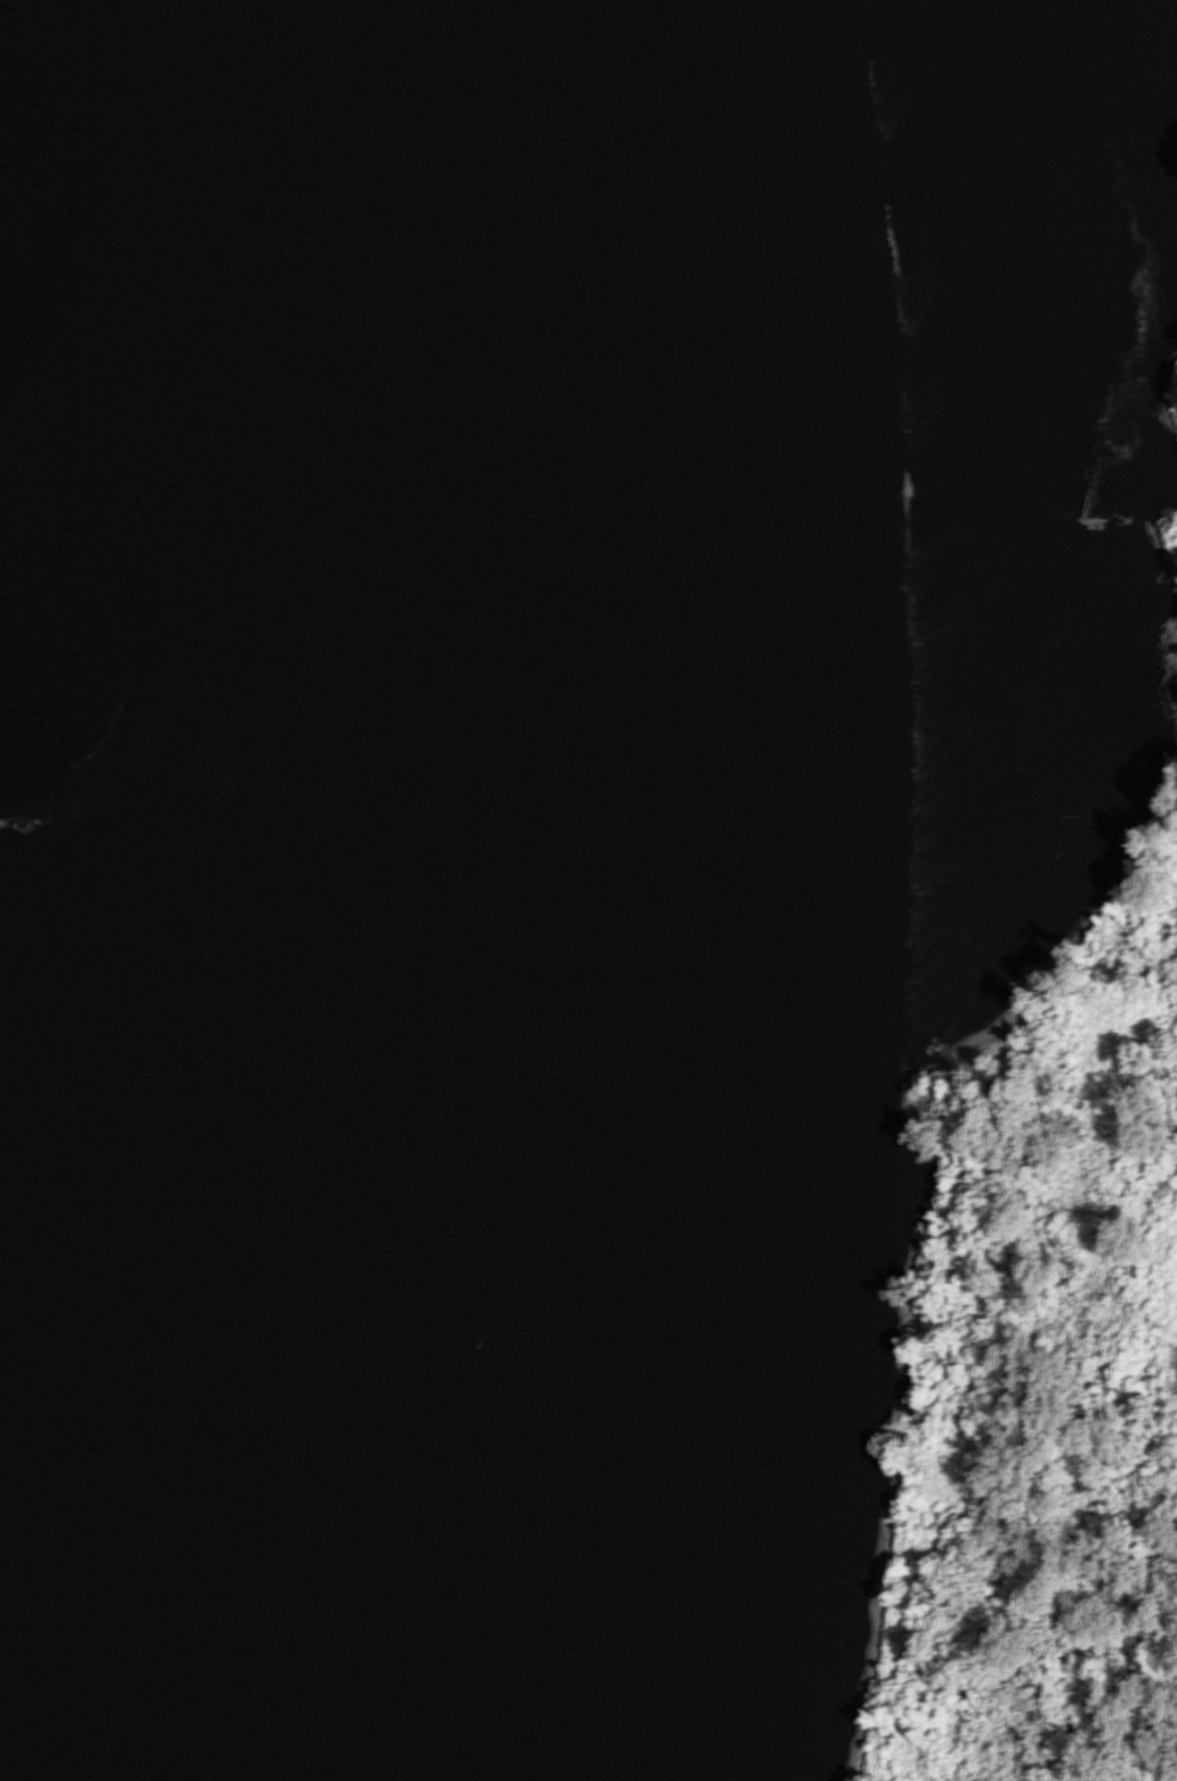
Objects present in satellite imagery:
river: (557, 894)

